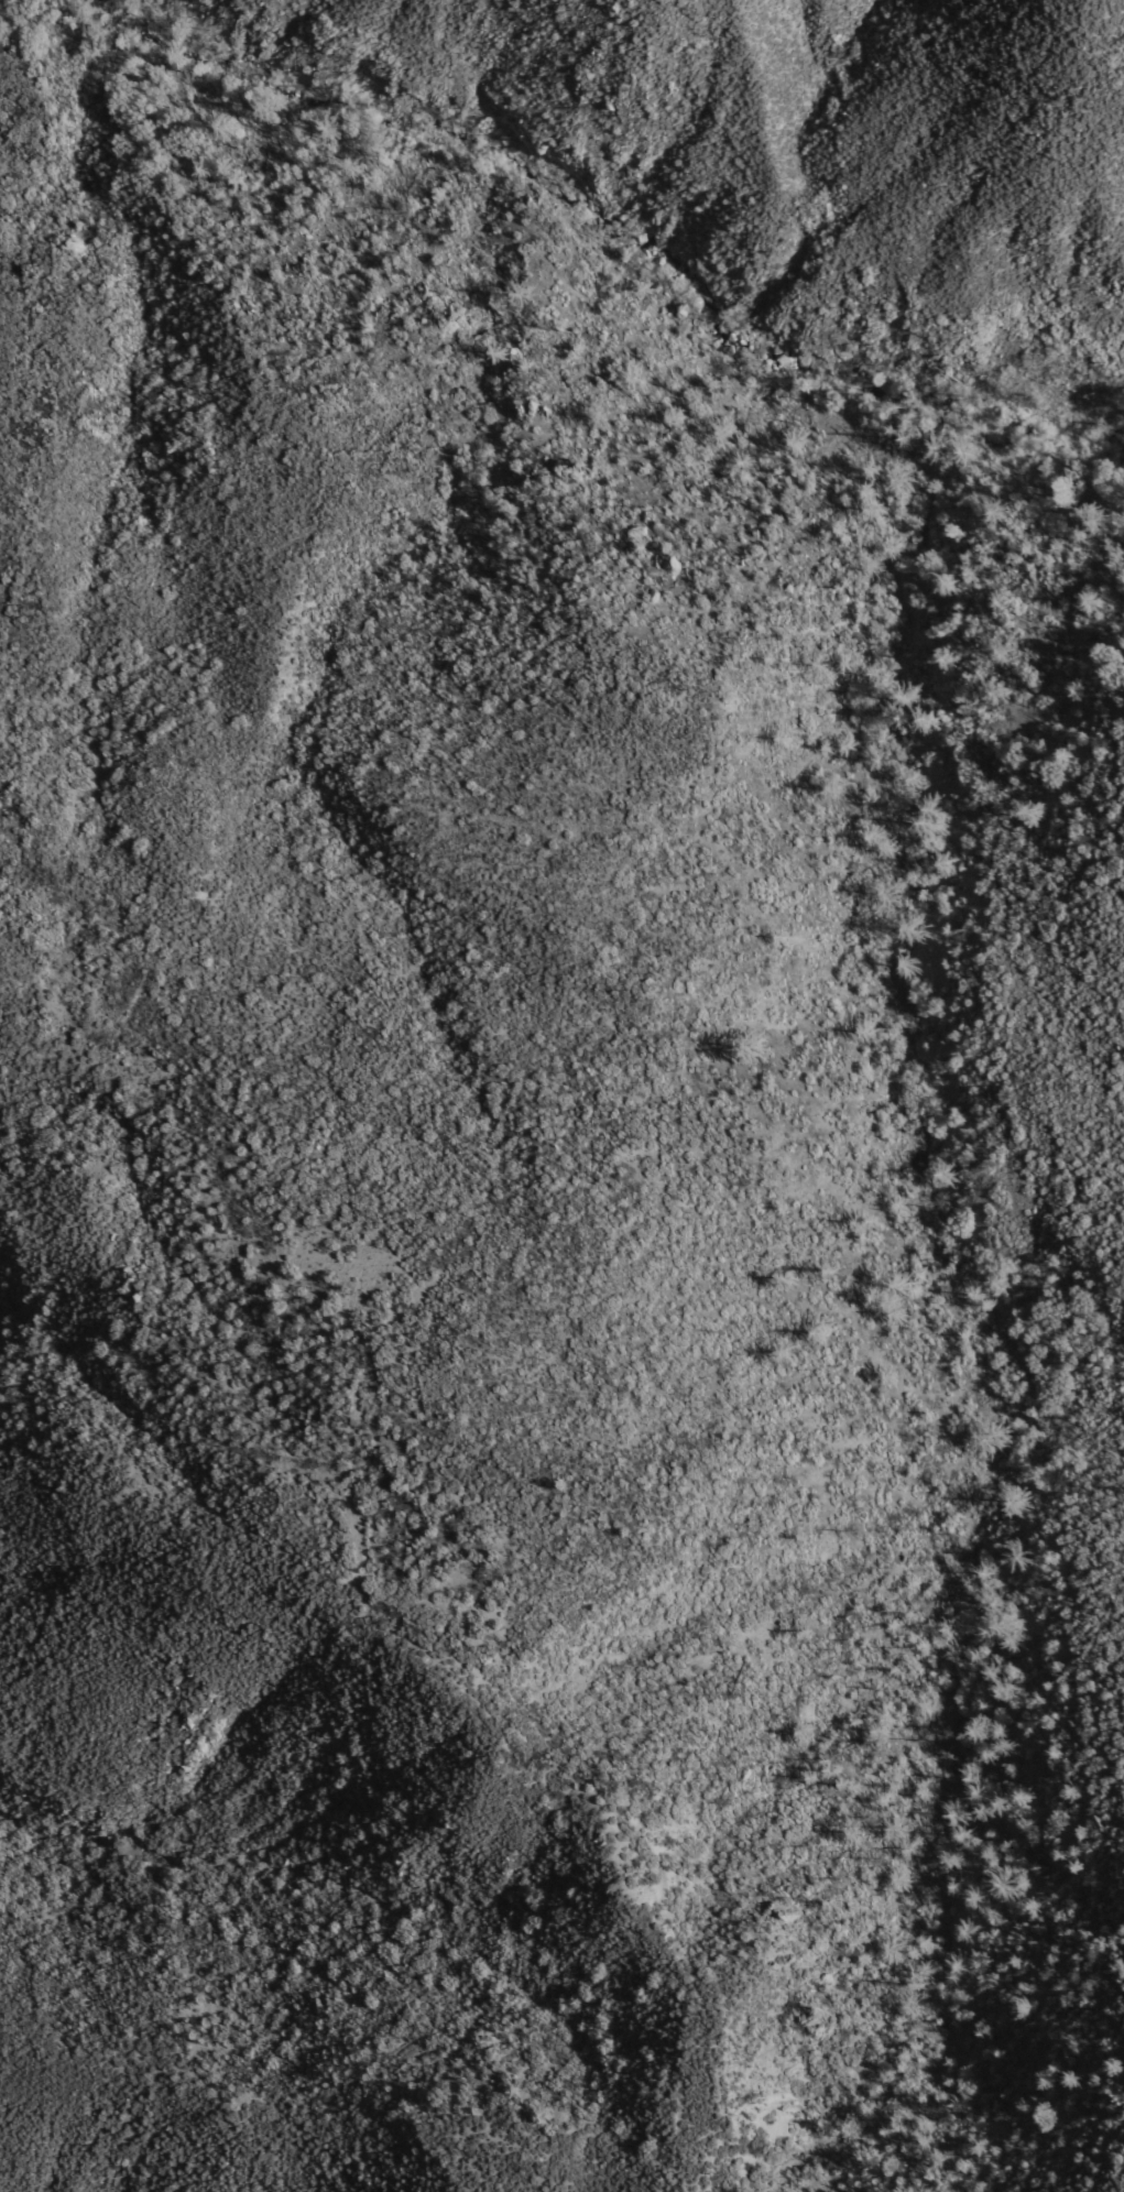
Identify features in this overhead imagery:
river: (557, 268)

